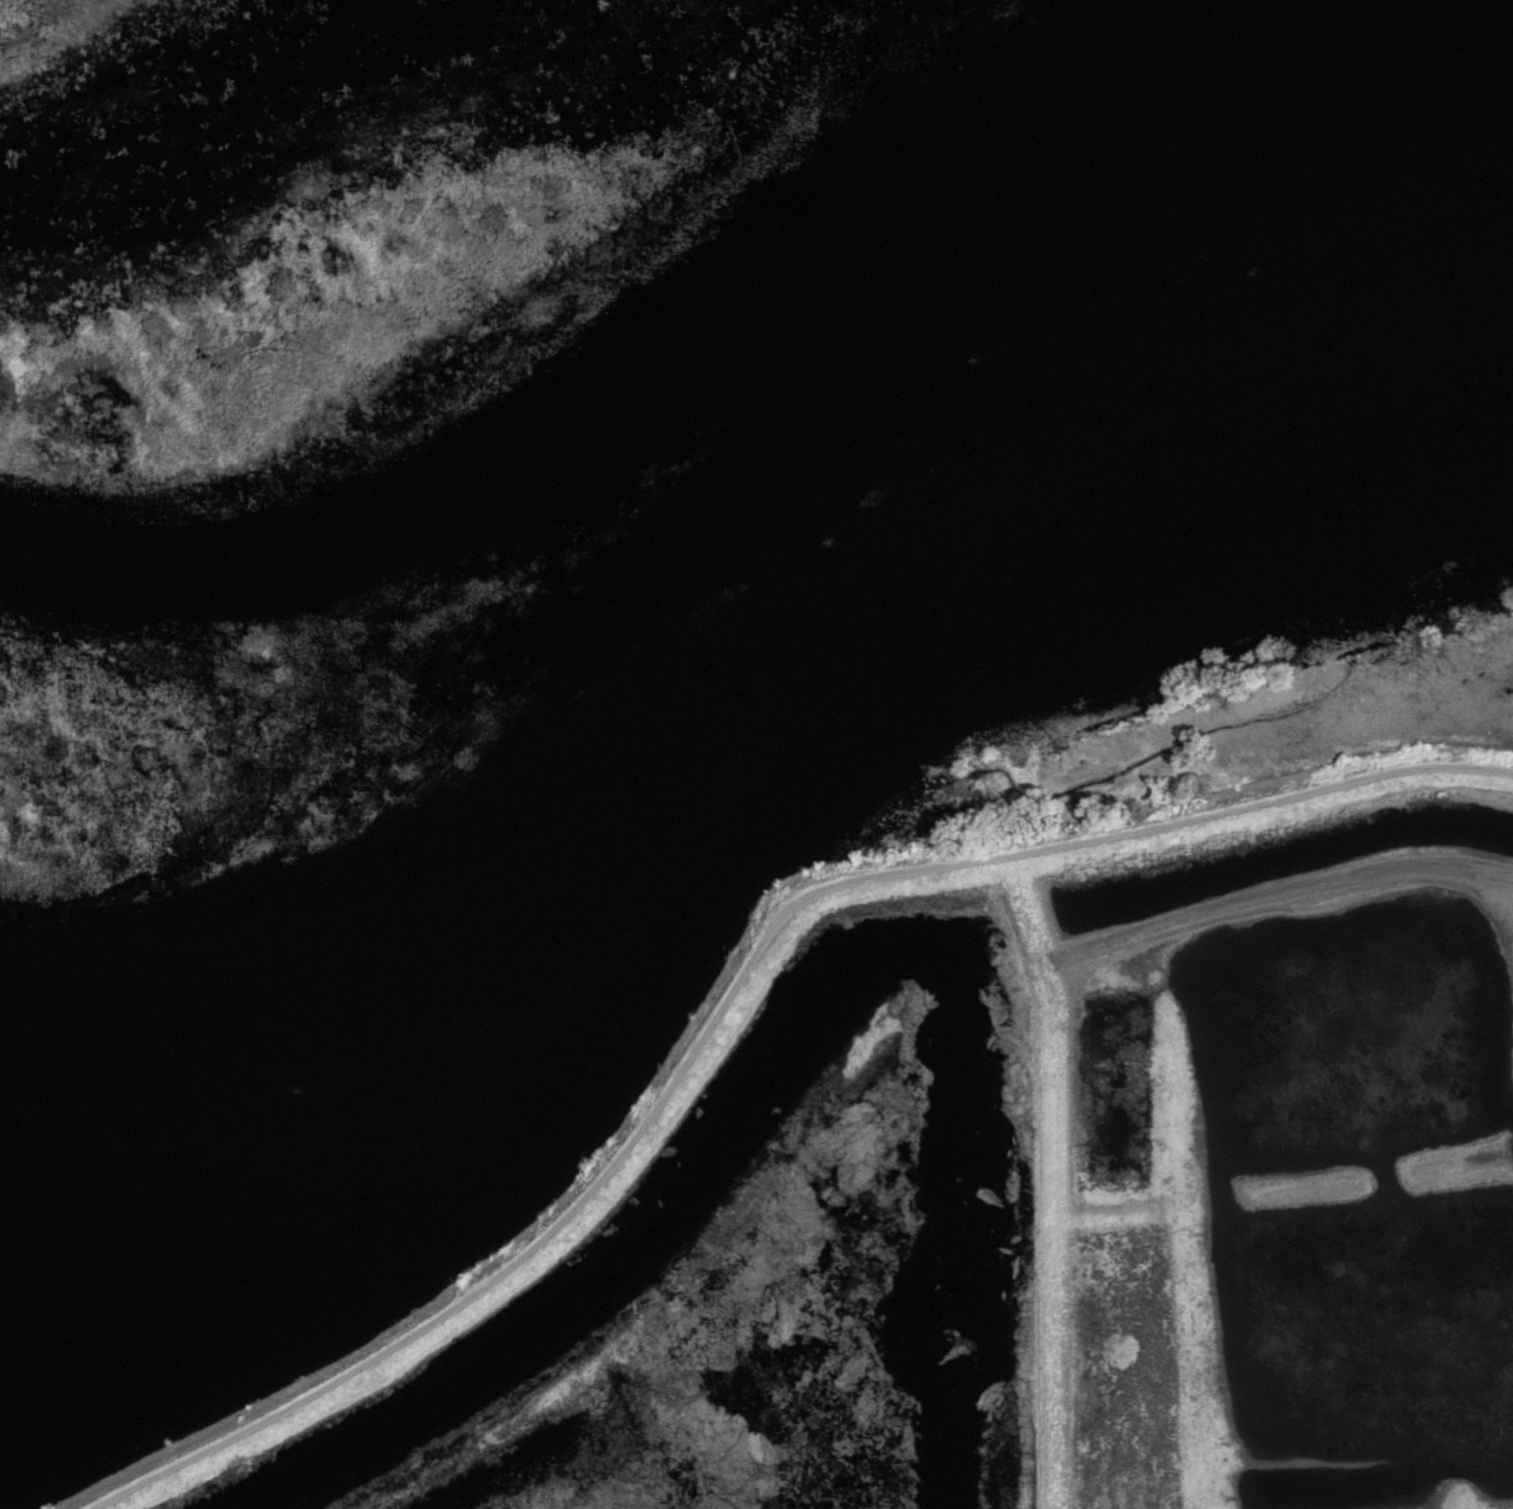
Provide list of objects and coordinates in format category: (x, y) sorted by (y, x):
river: (743, 461)
road: (731, 987)

